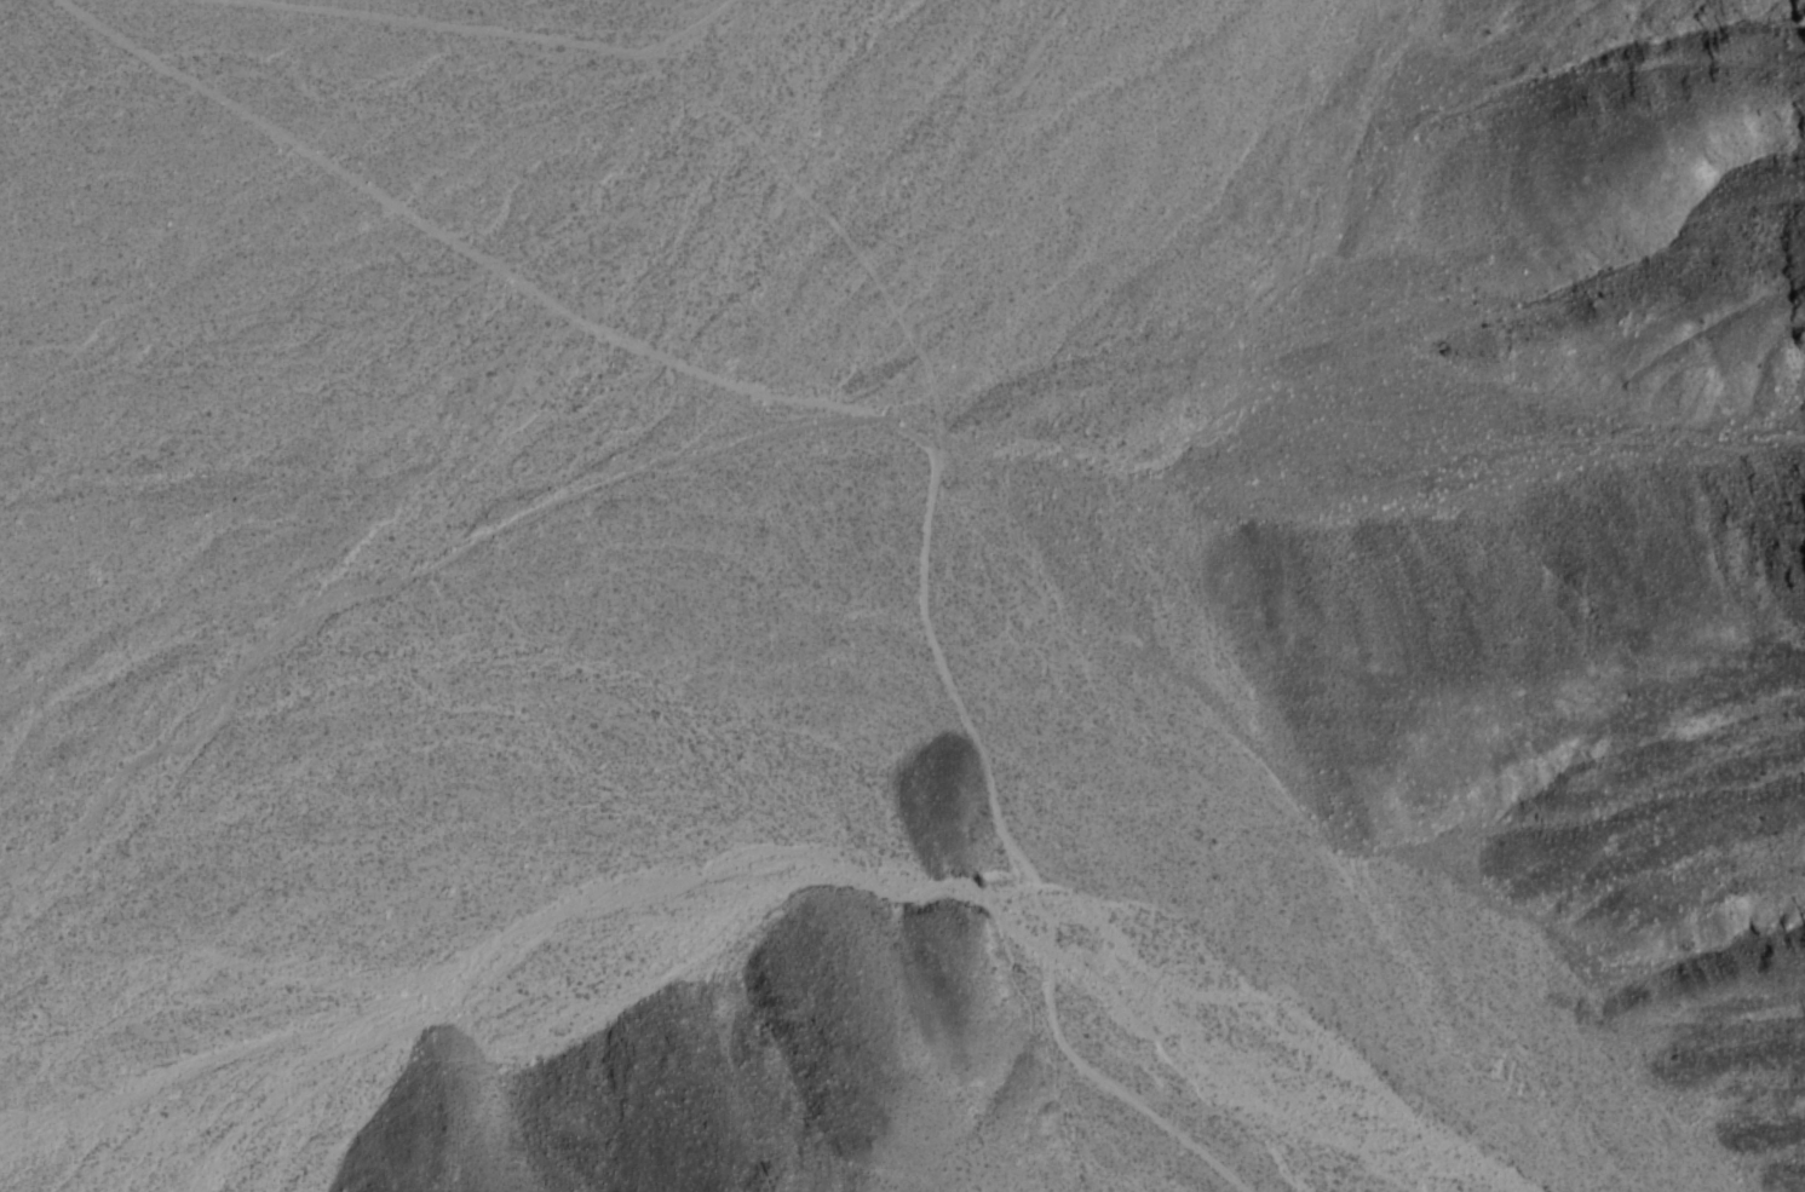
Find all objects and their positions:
road: (478, 35)
road: (931, 623)

